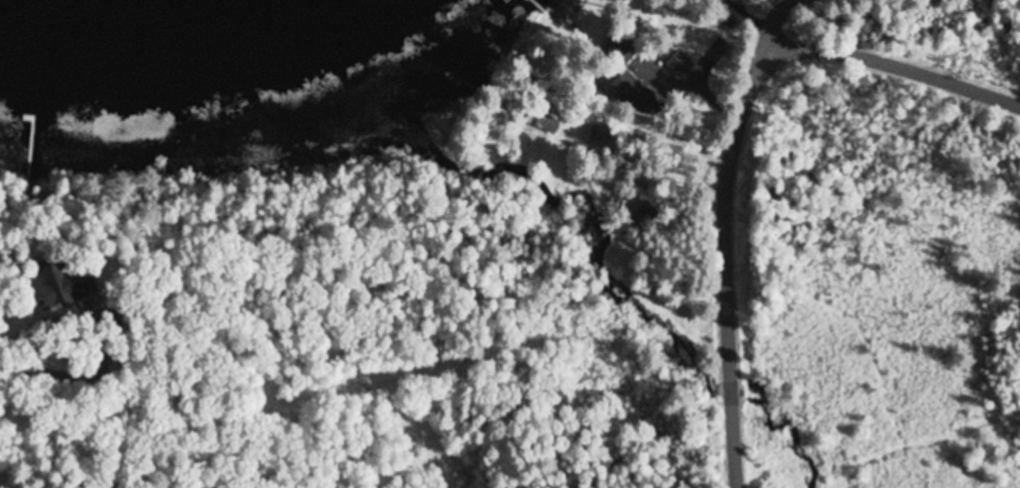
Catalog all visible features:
building: (739, 1)
road: (772, 24)
building: (620, 48)
building: (681, 63)
building: (637, 94)
building: (542, 122)
road: (738, 134)
building: (643, 216)
building: (66, 285)

